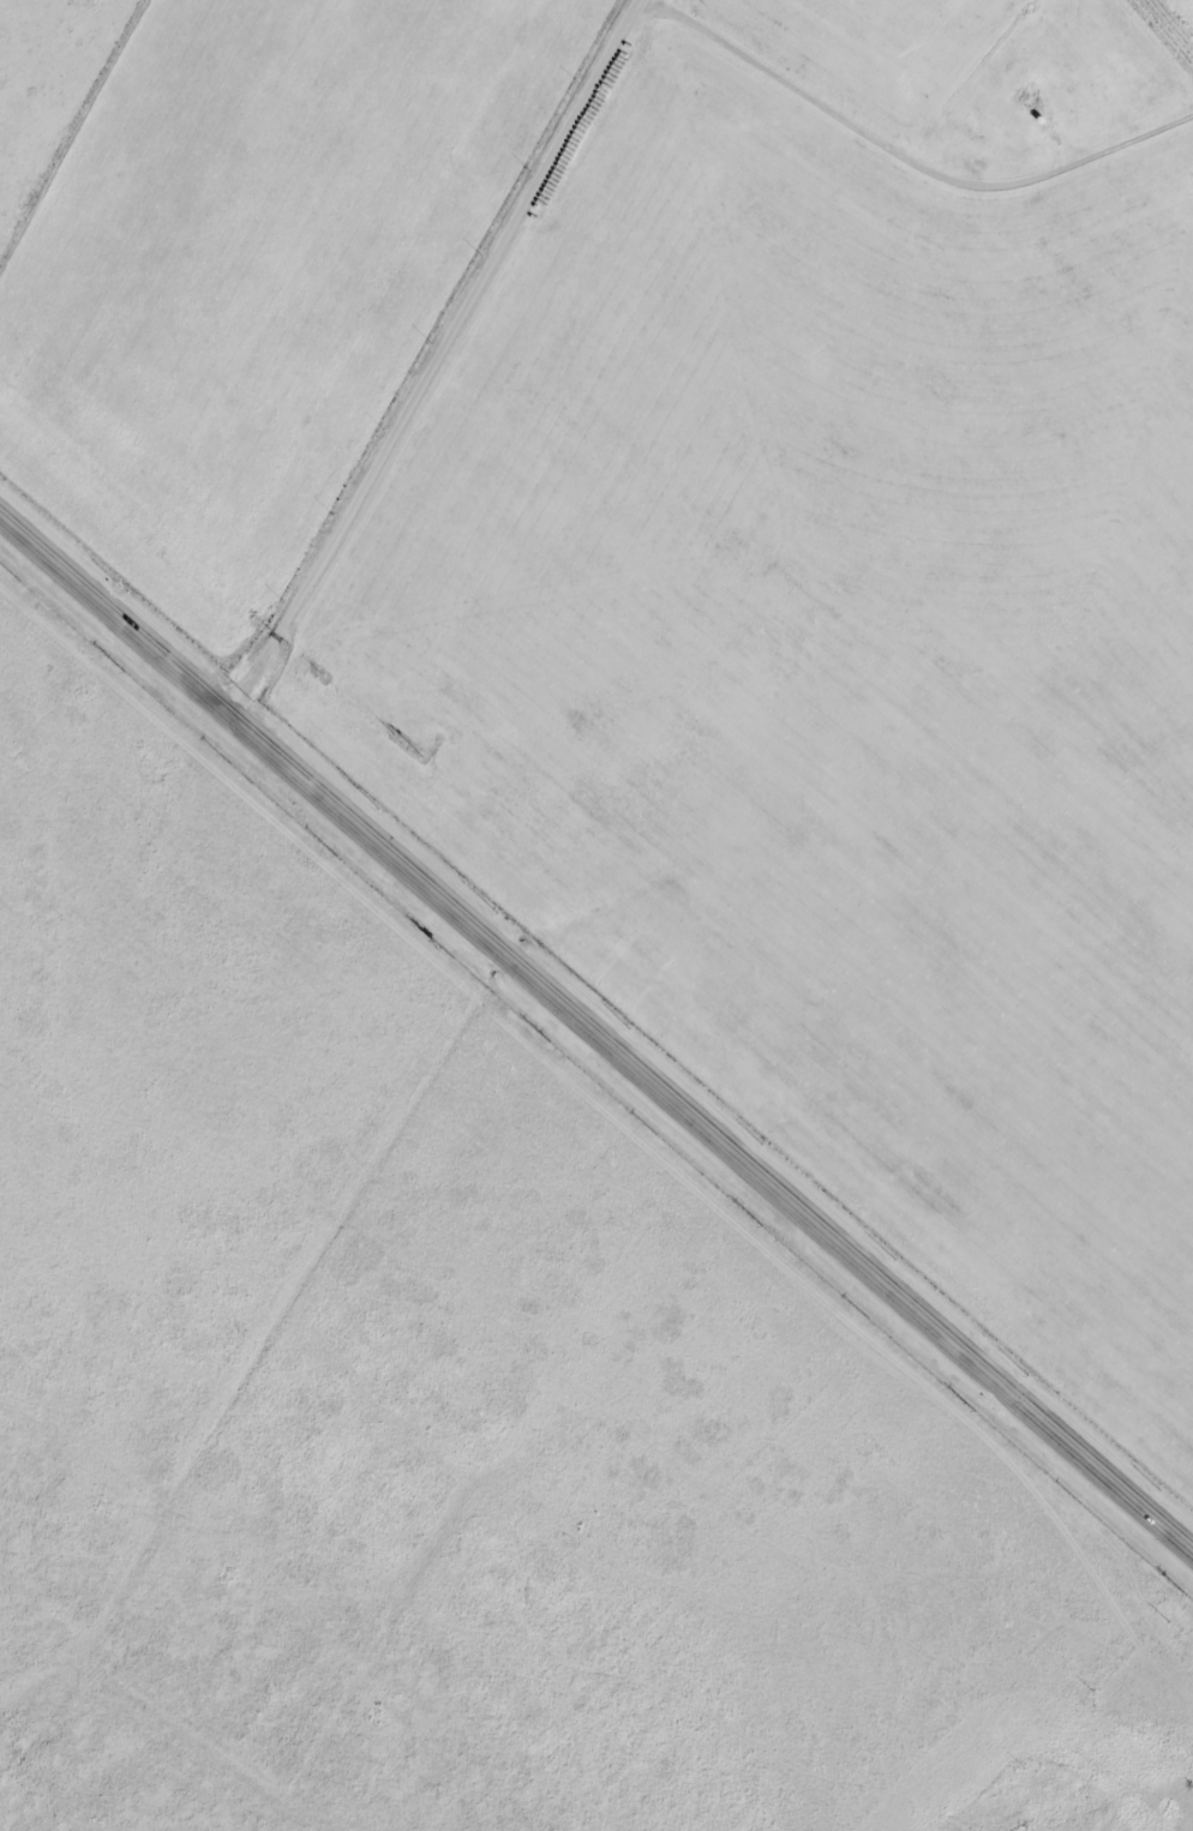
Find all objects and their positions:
road: (442, 360)
railway: (595, 930)
road: (594, 1033)

